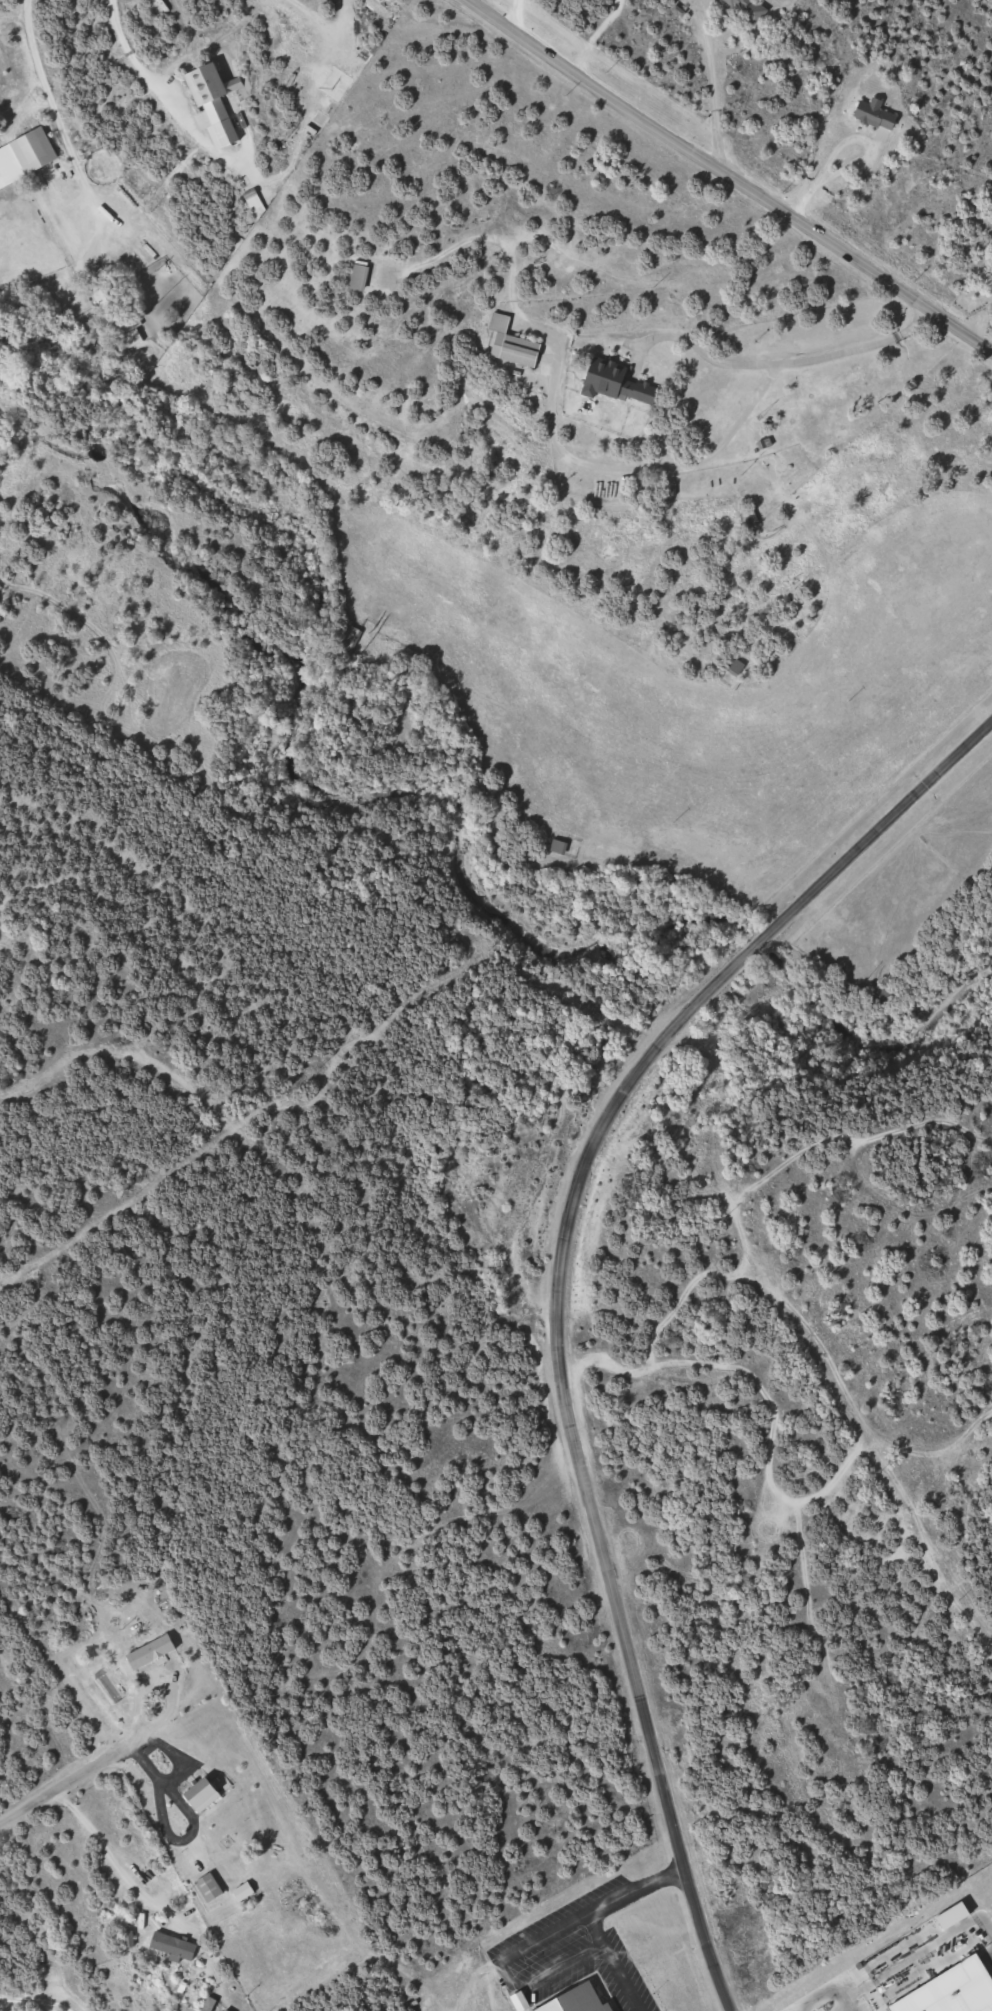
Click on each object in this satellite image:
building: (750, 11)
road: (593, 34)
road: (124, 54)
road: (711, 81)
road: (48, 103)
building: (218, 106)
building: (881, 116)
building: (38, 152)
road: (863, 155)
road: (728, 174)
road: (541, 222)
building: (363, 276)
building: (119, 313)
building: (515, 344)
road: (798, 362)
building: (624, 384)
building: (754, 517)
building: (351, 640)
building: (739, 668)
road: (885, 819)
building: (562, 847)
road: (730, 968)
road: (587, 1504)
building: (155, 1653)
road: (75, 1783)
building: (207, 1793)
road: (115, 1865)
building: (213, 1888)
building: (175, 1946)
building: (951, 1991)
building: (581, 2001)
road: (30, 2006)

